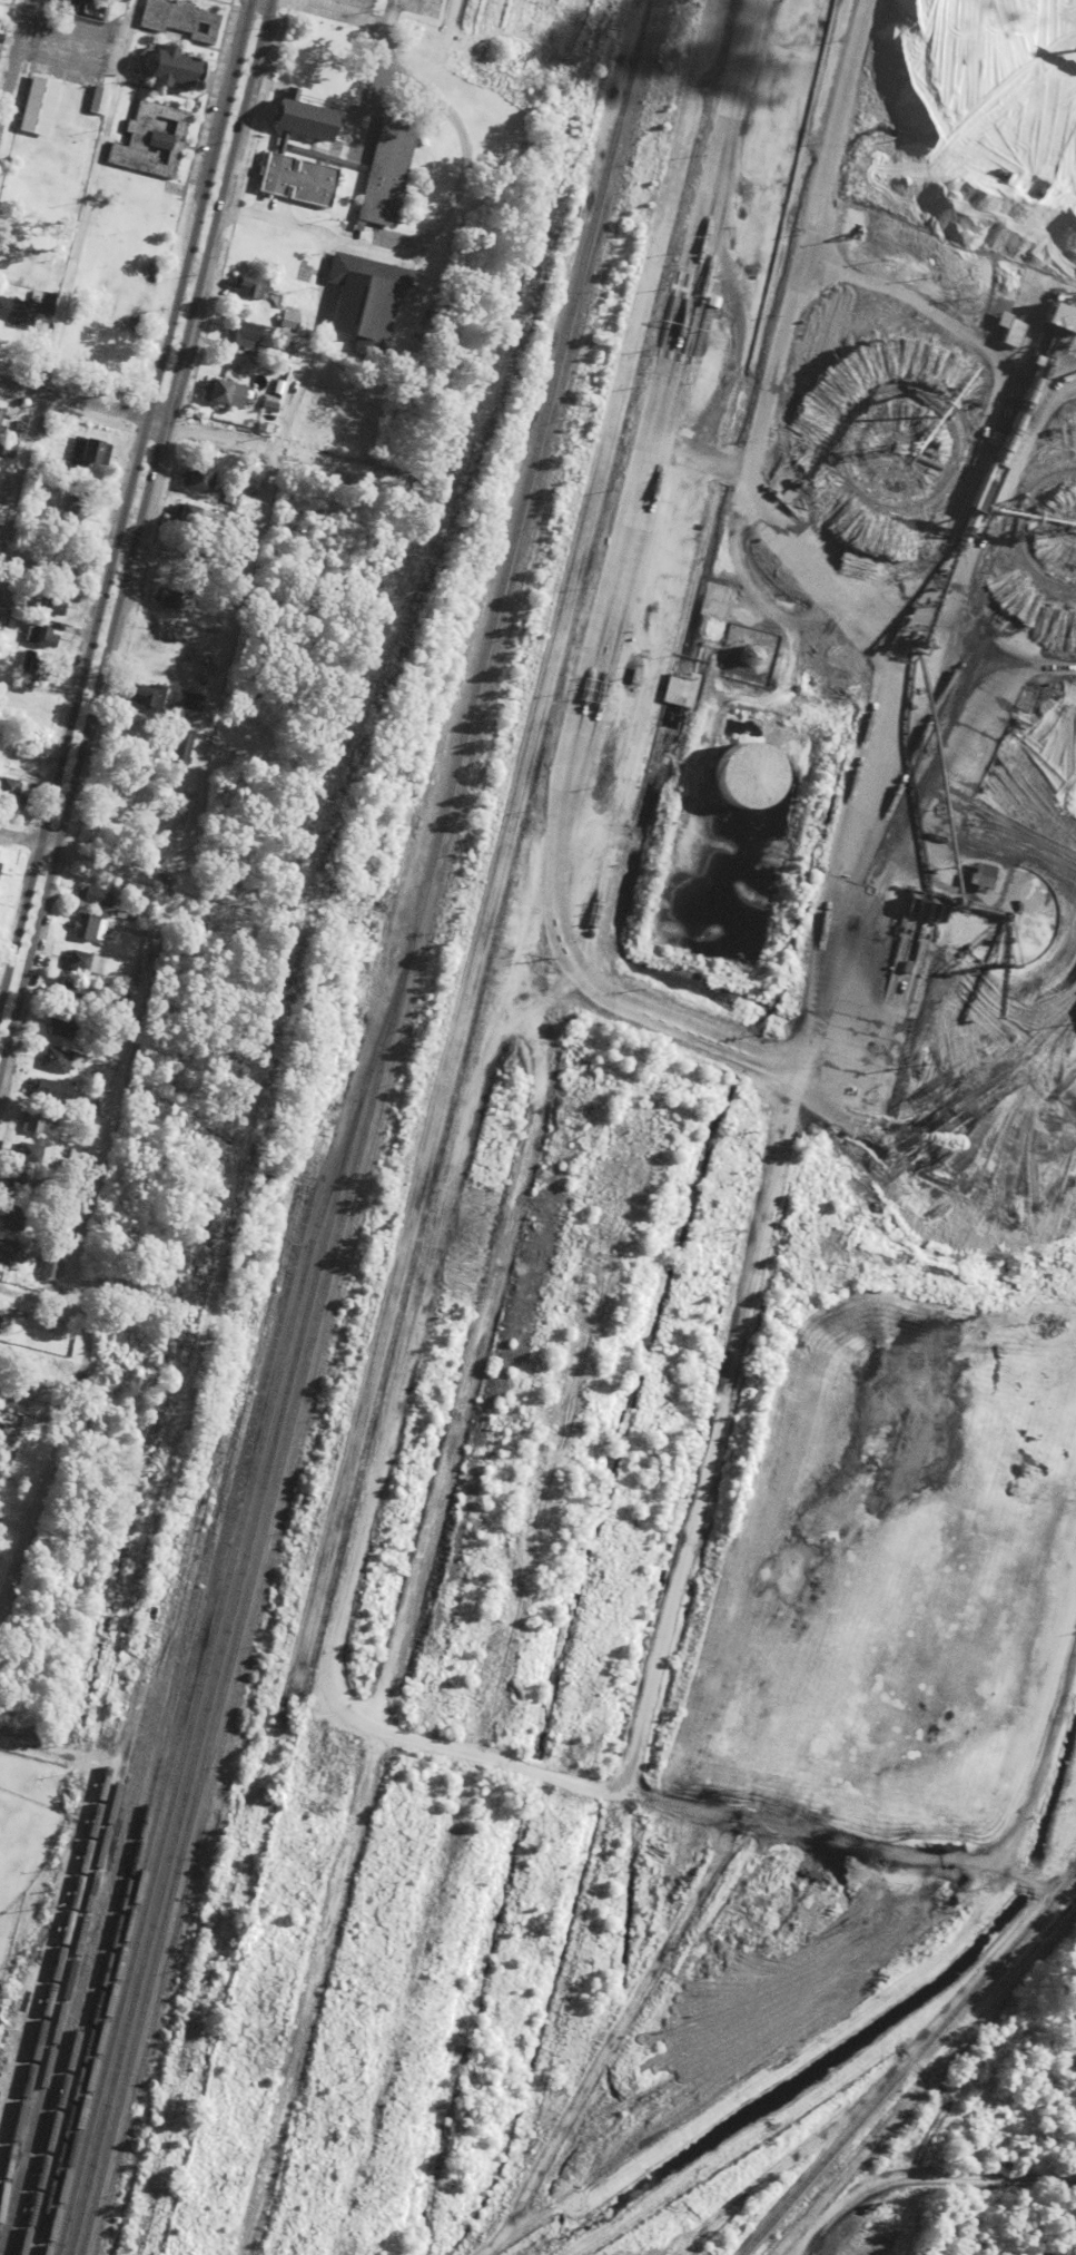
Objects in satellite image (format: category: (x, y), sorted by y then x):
road: (13, 56)
park: (206, 77)
road: (266, 88)
building: (290, 92)
road: (290, 94)
road: (356, 109)
building: (303, 119)
road: (453, 119)
parking lot: (364, 128)
building: (280, 140)
building: (385, 167)
building: (297, 179)
road: (274, 222)
road: (69, 273)
building: (364, 297)
road: (136, 416)
road: (125, 498)
road: (134, 530)
road: (85, 855)
road: (158, 920)
railway: (365, 1127)
railway: (376, 1127)
road: (33, 1290)
railway: (217, 1606)
railway: (214, 1677)
railway: (169, 1705)
railway: (179, 1708)
railway: (156, 1714)
road: (43, 1752)
road: (1072, 1890)
railway: (57, 1958)
railway: (65, 1987)
railway: (936, 2029)
road: (796, 2059)
road: (991, 2175)
road: (840, 2202)
railway: (769, 2223)

